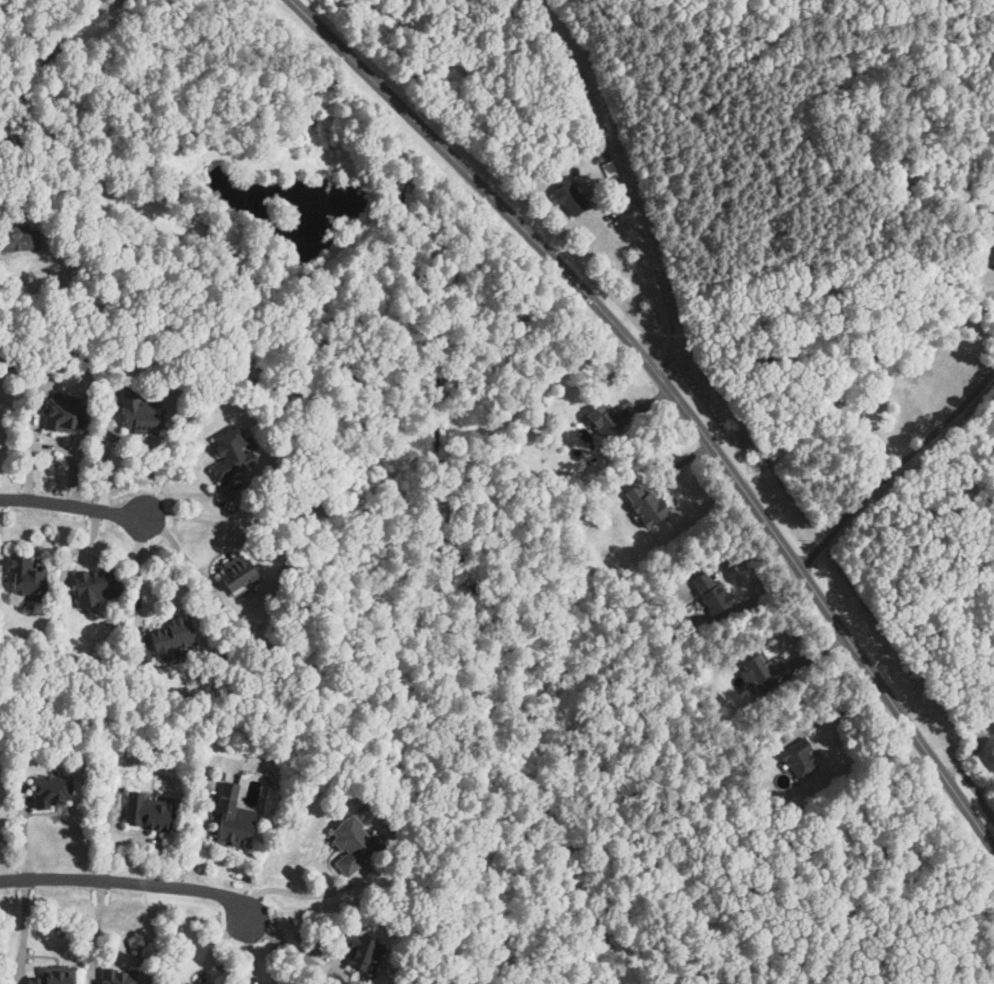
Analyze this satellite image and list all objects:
road: (344, 18)
road: (46, 53)
building: (569, 197)
building: (19, 239)
road: (657, 292)
road: (677, 398)
building: (66, 414)
building: (141, 414)
building: (903, 418)
building: (605, 419)
building: (877, 438)
building: (232, 453)
road: (896, 469)
road: (180, 494)
building: (647, 505)
road: (72, 510)
road: (181, 550)
road: (139, 572)
building: (240, 572)
building: (27, 576)
building: (98, 585)
building: (713, 594)
building: (173, 637)
building: (762, 673)
road: (968, 750)
building: (799, 758)
building: (52, 790)
building: (148, 811)
building: (232, 819)
road: (196, 835)
road: (136, 837)
building: (352, 843)
road: (126, 886)
road: (298, 894)
road: (94, 932)
road: (23, 934)
road: (290, 948)
building: (360, 949)
building: (53, 975)
building: (119, 976)
building: (189, 983)

